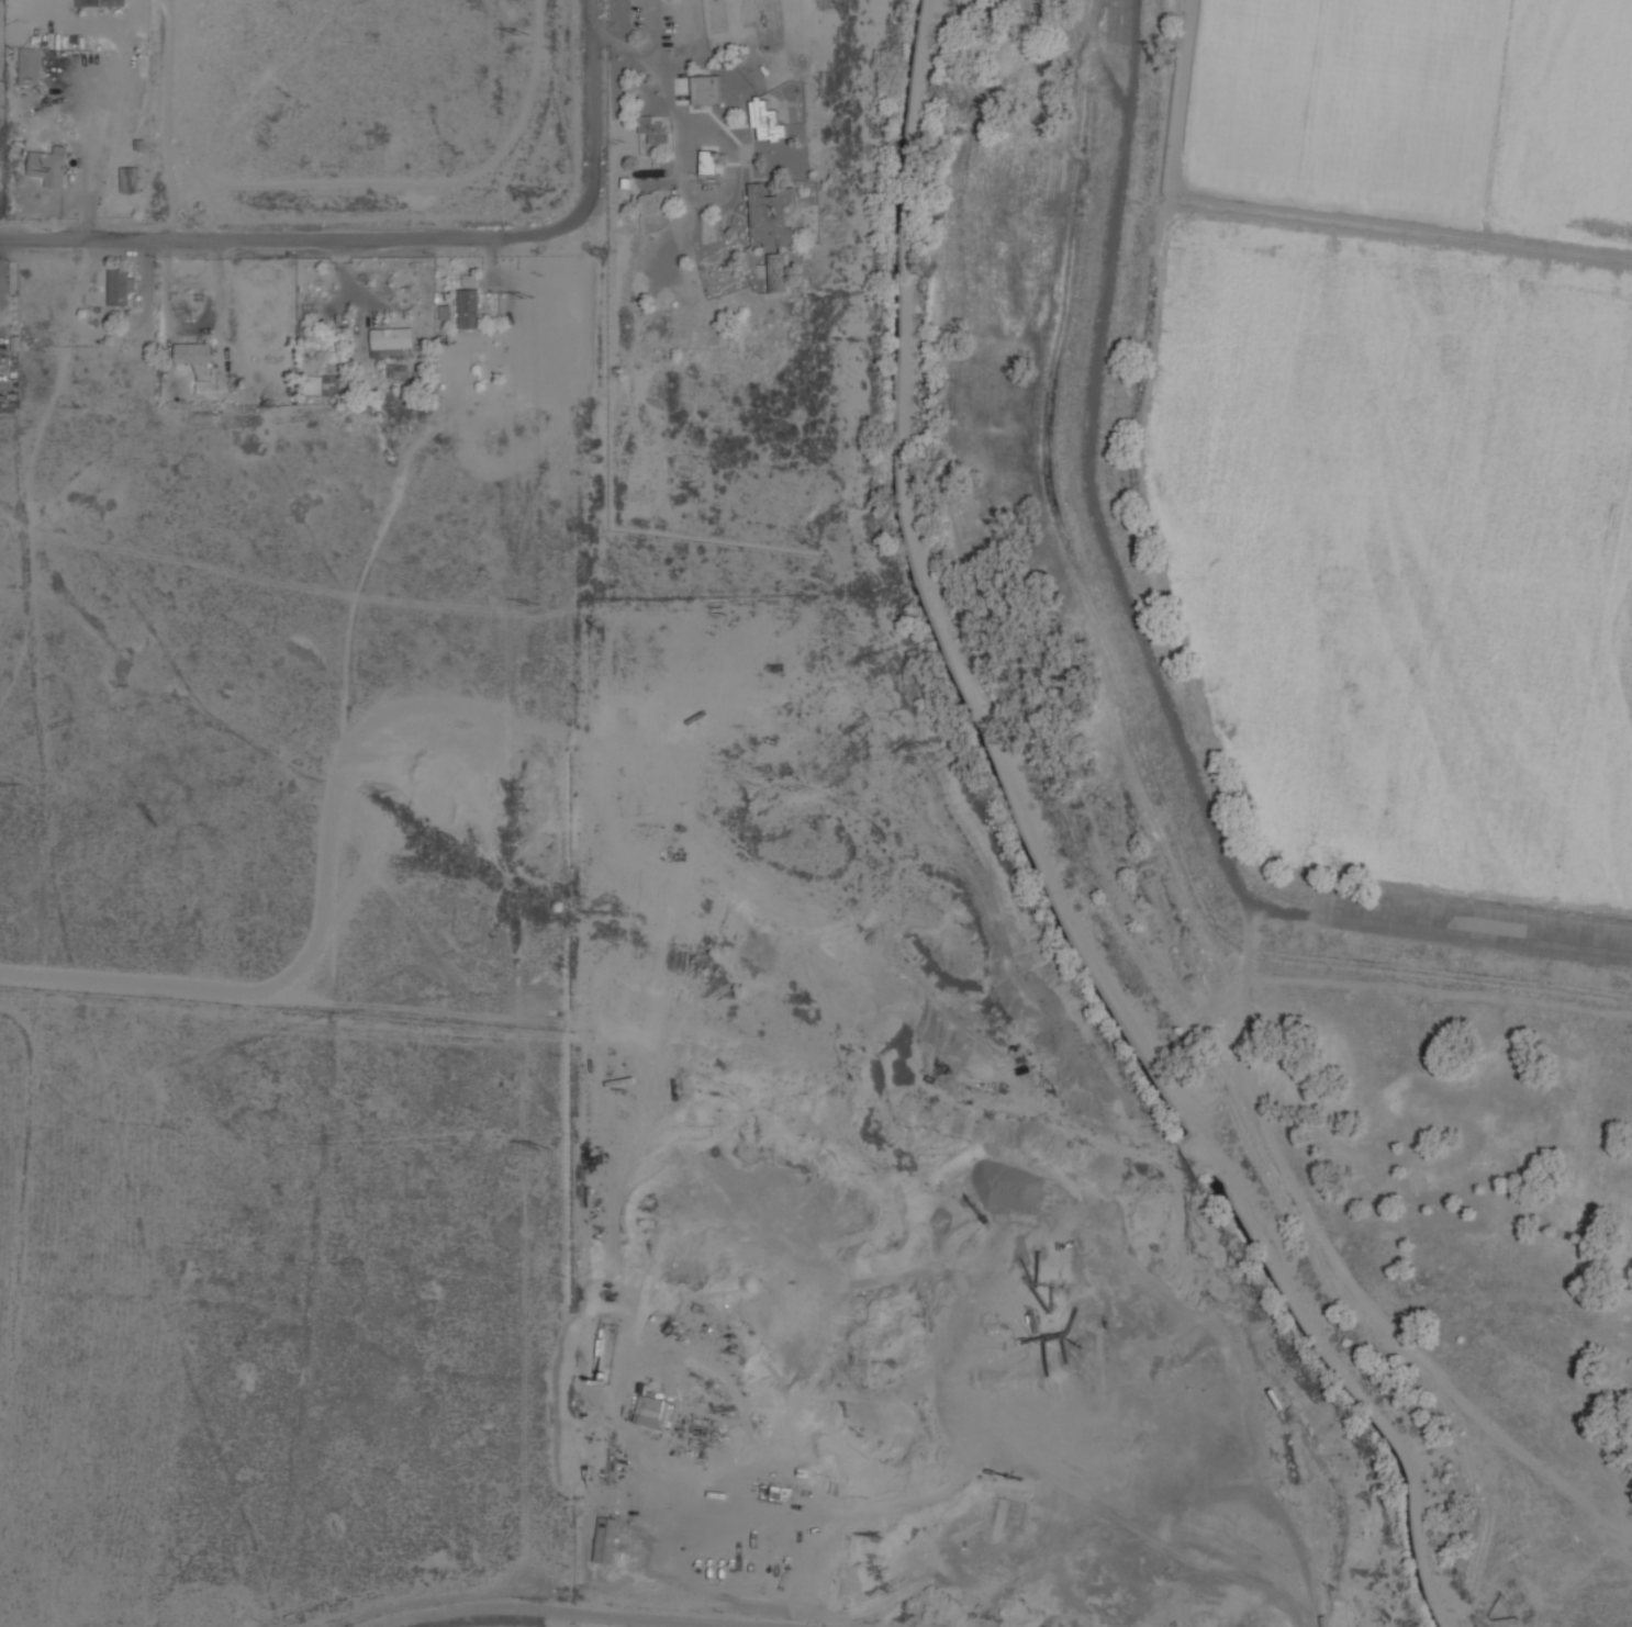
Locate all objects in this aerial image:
building: (99, 2)
power tower: (521, 32)
building: (30, 65)
road: (653, 71)
building: (705, 89)
building: (765, 121)
road: (91, 153)
building: (707, 161)
building: (47, 168)
building: (128, 179)
building: (648, 202)
building: (770, 217)
road: (399, 235)
road: (1, 260)
building: (778, 272)
building: (468, 280)
building: (119, 287)
power tower: (523, 295)
building: (468, 307)
road: (190, 327)
building: (391, 343)
building: (192, 352)
building: (333, 385)
crop: (1406, 433)
power tower: (533, 603)
dam: (1134, 636)
power tower: (540, 1144)
building: (651, 1412)
building: (605, 1539)
road: (550, 1612)

